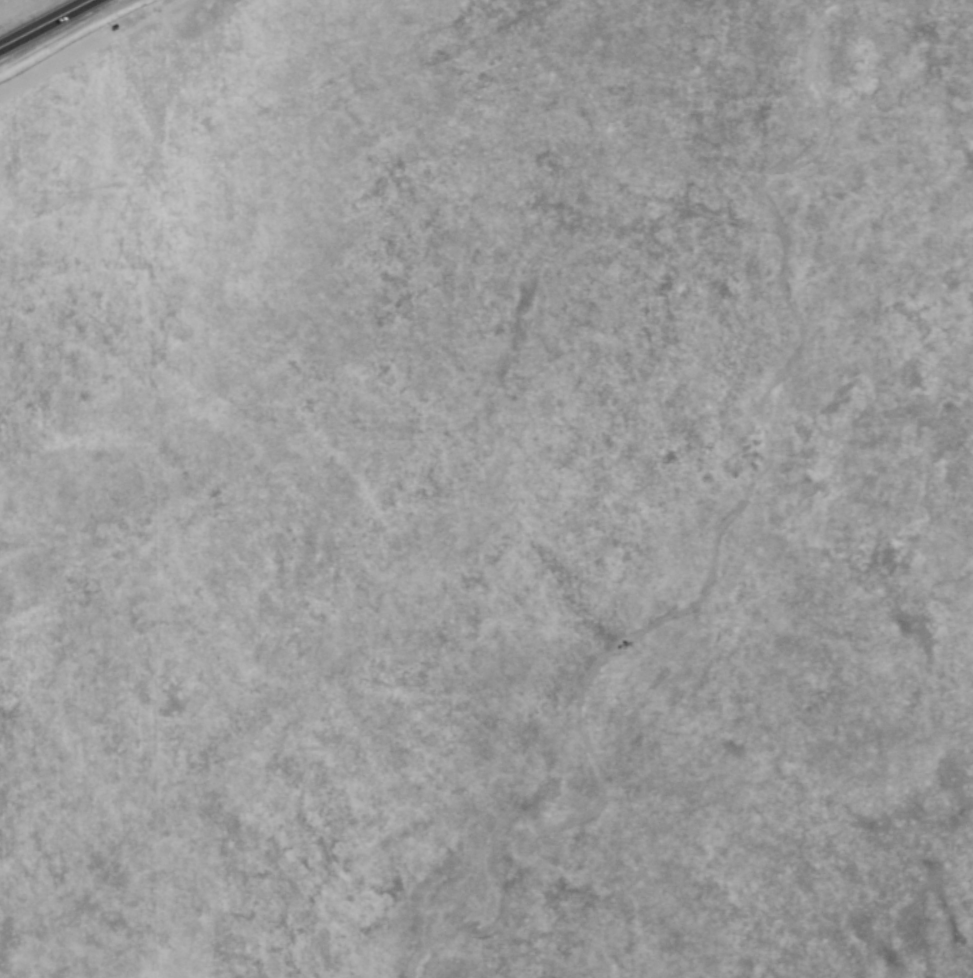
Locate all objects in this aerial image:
road: (39, 19)
airport: (487, 490)

